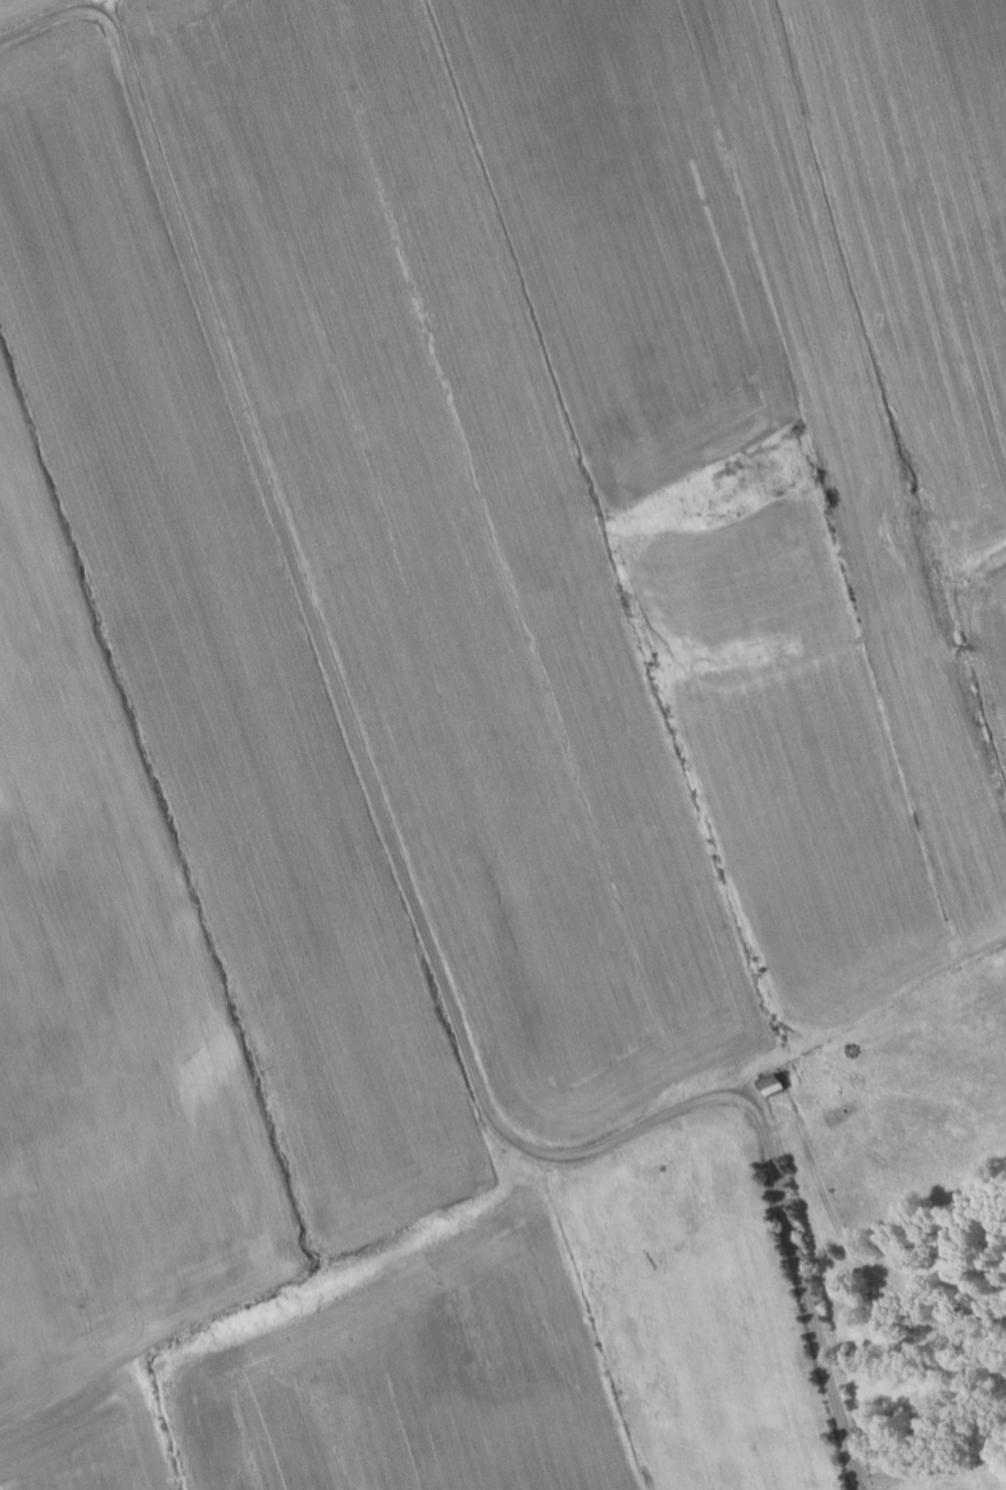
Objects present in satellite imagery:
road: (321, 635)
road: (755, 1107)
road: (808, 1313)

